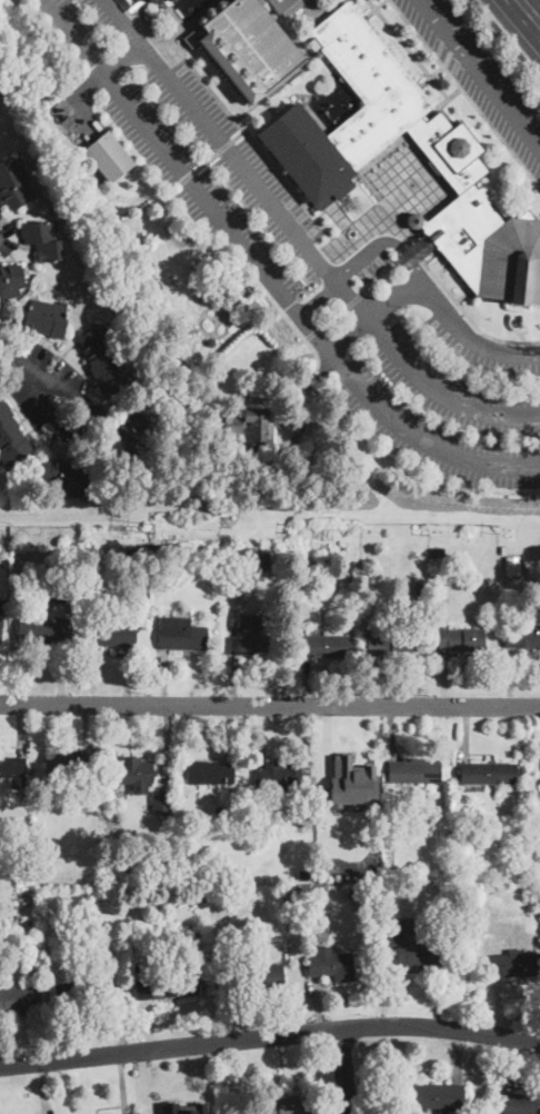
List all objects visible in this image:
building: (171, 0)
building: (173, 0)
building: (151, 1)
building: (287, 6)
road: (528, 14)
parking lot: (73, 28)
road: (147, 31)
road: (506, 38)
building: (248, 47)
road: (120, 57)
road: (480, 73)
parking lot: (479, 76)
parking lot: (87, 100)
parking lot: (218, 139)
building: (324, 153)
building: (109, 157)
building: (13, 182)
parking lot: (196, 185)
road: (301, 238)
road: (384, 238)
building: (43, 240)
building: (417, 250)
parking lot: (372, 262)
road: (264, 272)
building: (10, 279)
road: (317, 297)
road: (449, 311)
building: (46, 318)
building: (211, 342)
parking lot: (480, 349)
building: (104, 361)
road: (31, 375)
parking lot: (441, 412)
building: (251, 428)
building: (128, 436)
building: (11, 437)
building: (67, 476)
power tower: (151, 527)
power tower: (499, 529)
building: (157, 546)
building: (179, 550)
building: (504, 550)
building: (139, 553)
building: (438, 553)
building: (19, 557)
building: (260, 561)
building: (321, 565)
building: (418, 590)
building: (59, 594)
building: (0, 603)
building: (431, 608)
building: (42, 633)
building: (111, 634)
building: (181, 634)
building: (249, 636)
building: (522, 636)
building: (461, 639)
building: (390, 645)
building: (326, 646)
road: (269, 705)
building: (68, 764)
building: (413, 770)
building: (12, 772)
building: (132, 773)
building: (209, 773)
building: (488, 773)
building: (277, 777)
building: (343, 778)
building: (408, 794)
building: (161, 803)
building: (458, 819)
building: (387, 826)
building: (538, 837)
building: (377, 862)
building: (513, 868)
building: (351, 871)
building: (177, 883)
building: (356, 893)
building: (207, 896)
building: (380, 897)
building: (3, 899)
building: (92, 904)
building: (536, 915)
building: (411, 946)
building: (514, 964)
building: (331, 966)
building: (31, 973)
building: (259, 977)
building: (162, 984)
building: (78, 994)
building: (19, 998)
road: (269, 1042)
road: (342, 1074)
building: (436, 1096)
building: (522, 1103)
building: (283, 1106)
building: (180, 1111)

